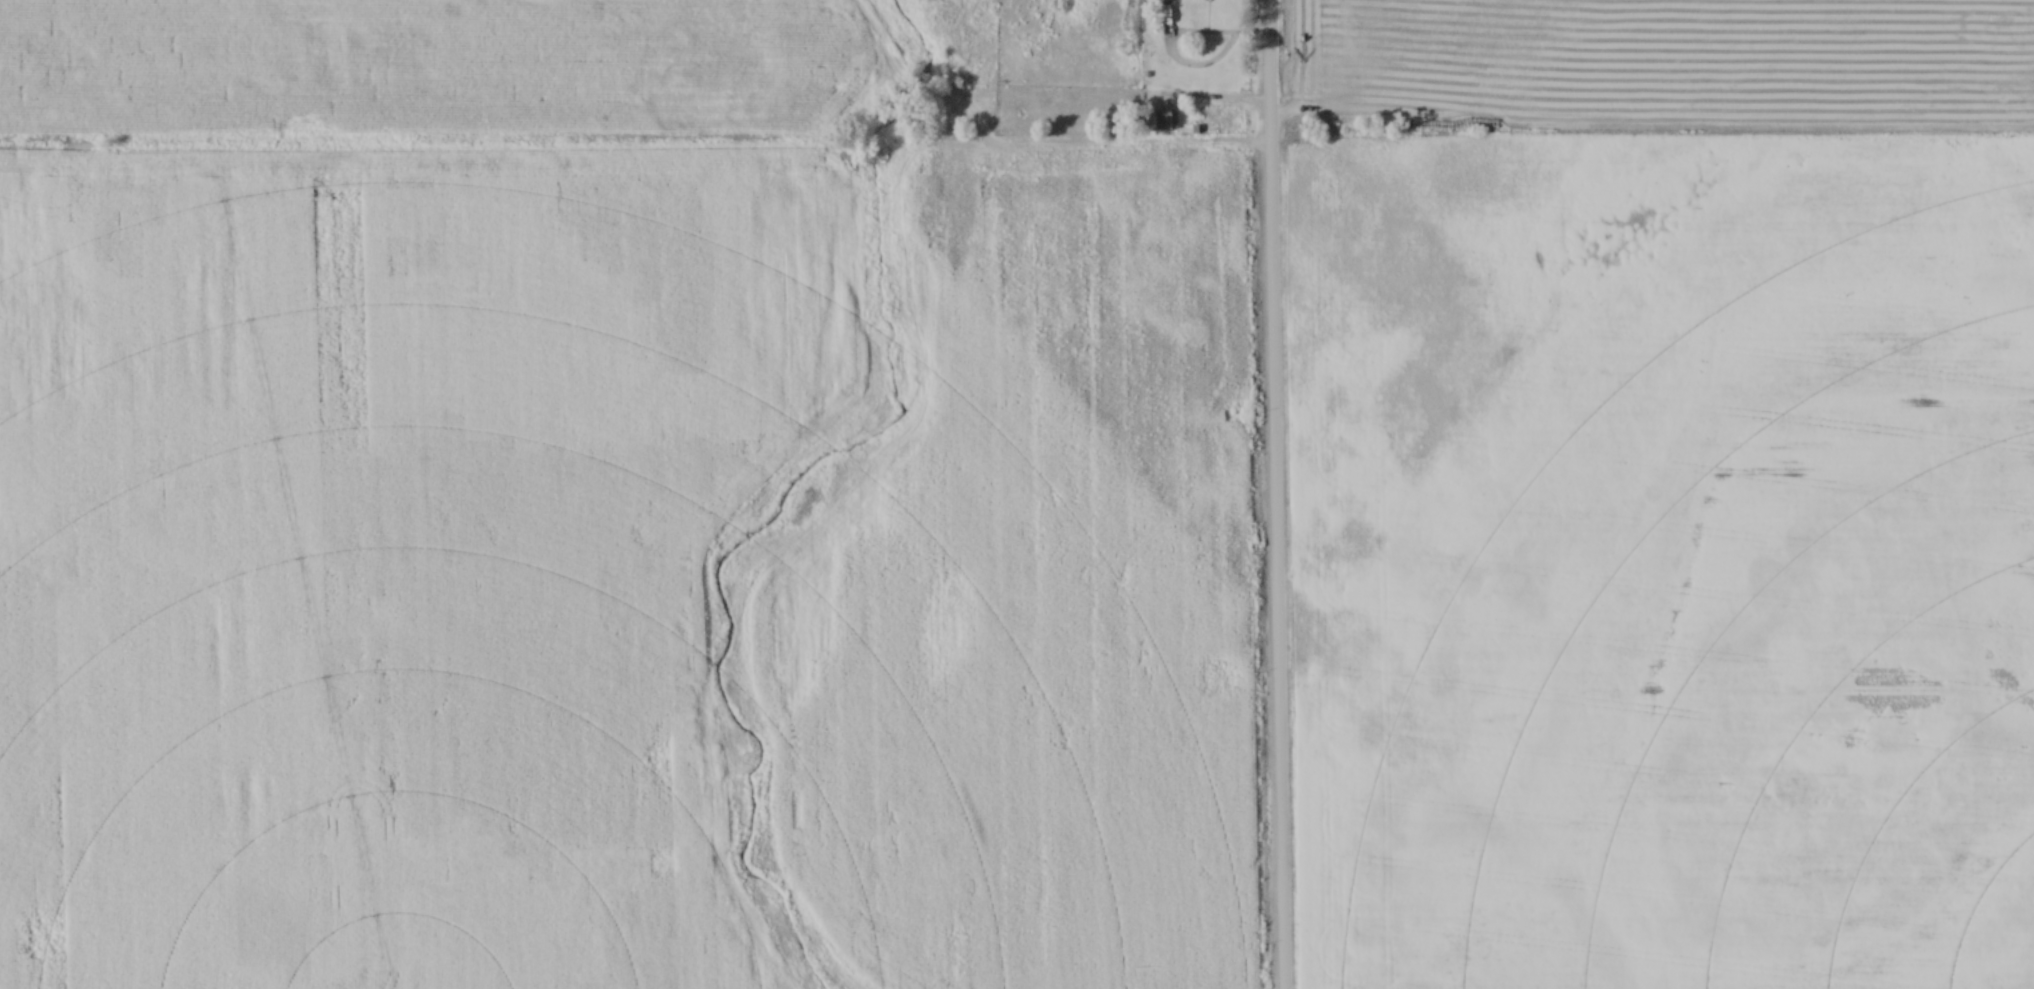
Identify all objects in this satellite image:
road: (1253, 38)
road: (1162, 44)
building: (1165, 120)
road: (1271, 494)

